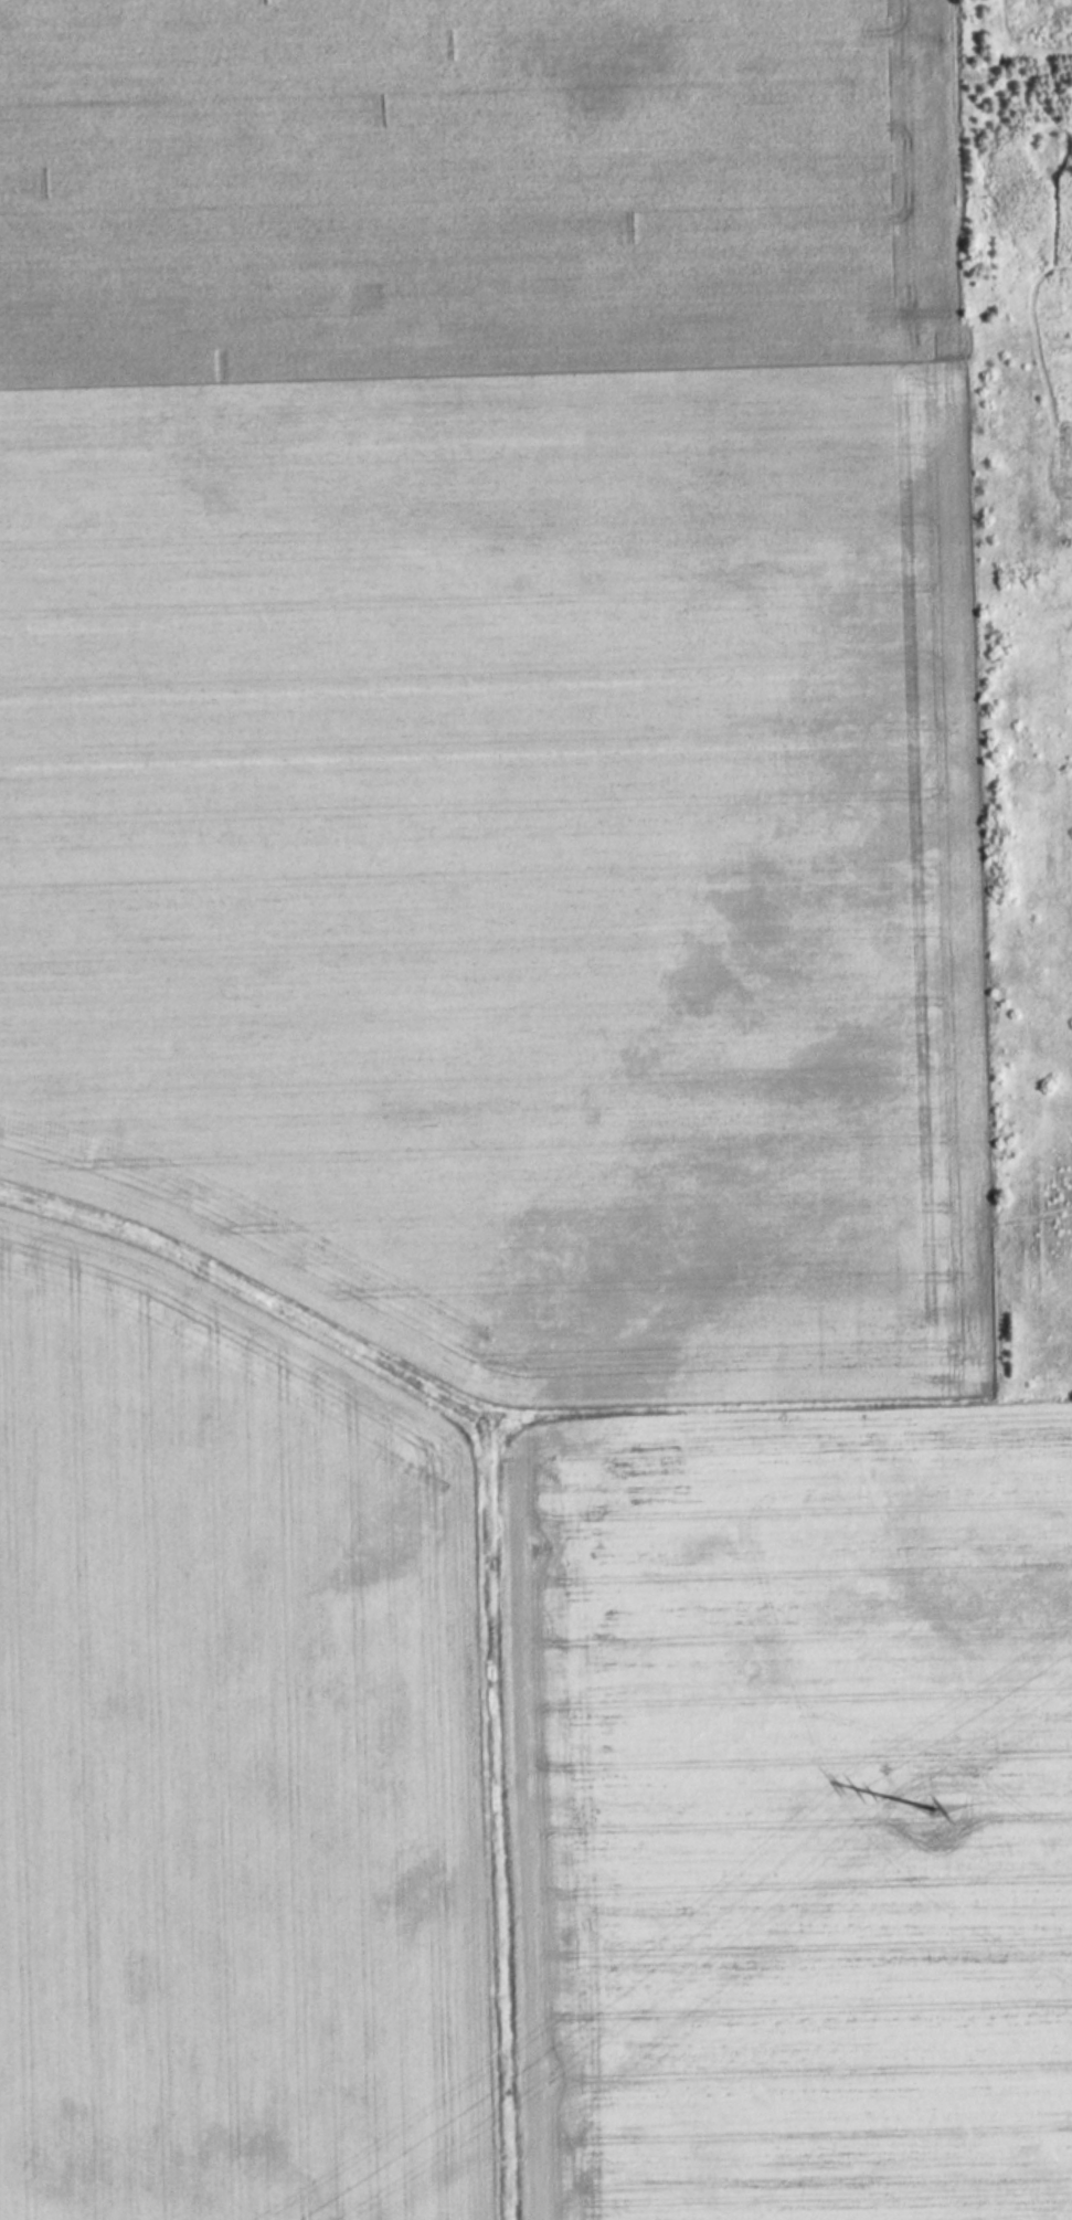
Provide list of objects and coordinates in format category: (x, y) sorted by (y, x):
power tower: (936, 1800)

